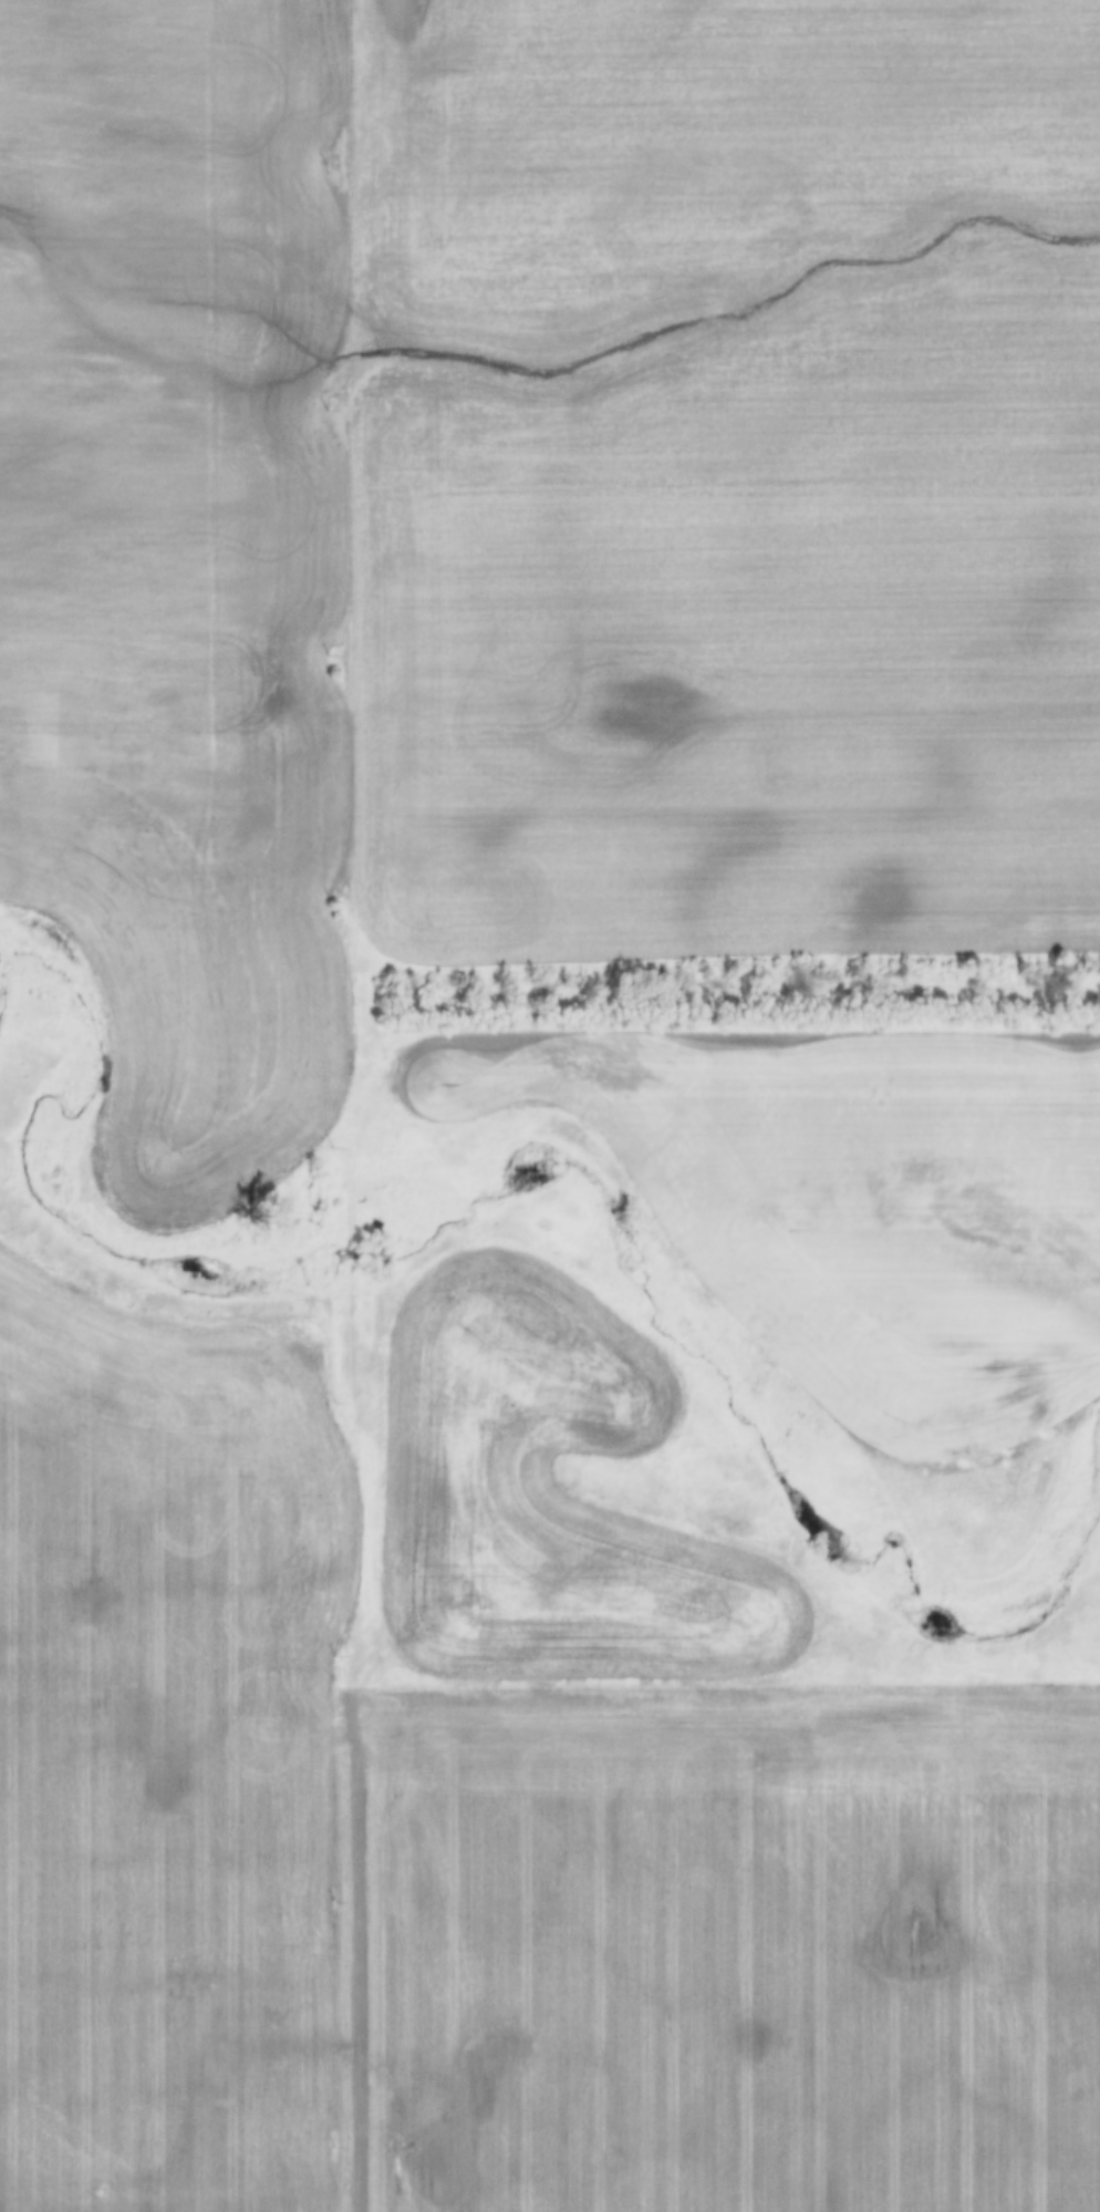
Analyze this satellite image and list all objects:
road: (349, 1105)

